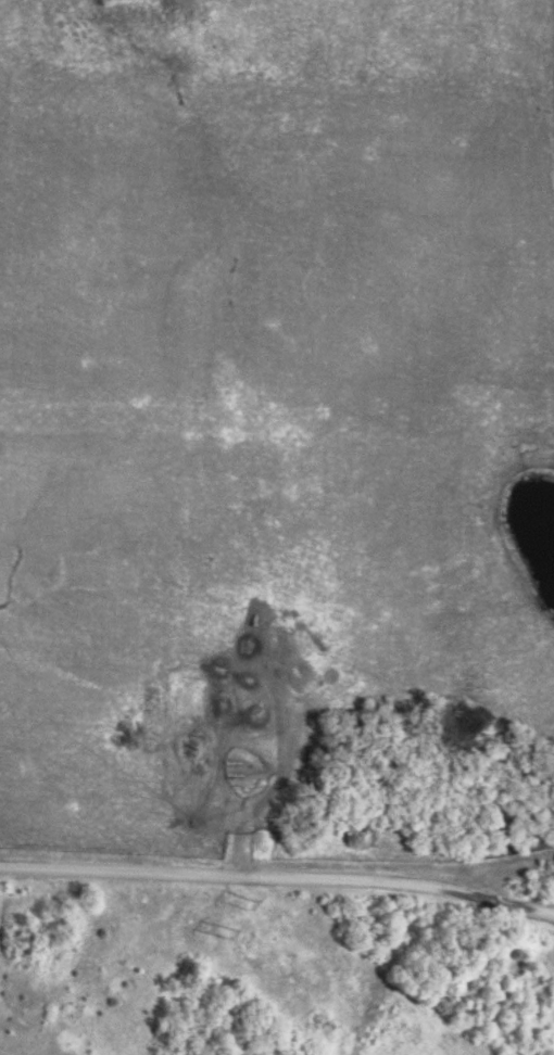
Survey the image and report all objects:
road: (278, 878)
power tower: (239, 901)
power tower: (219, 929)

